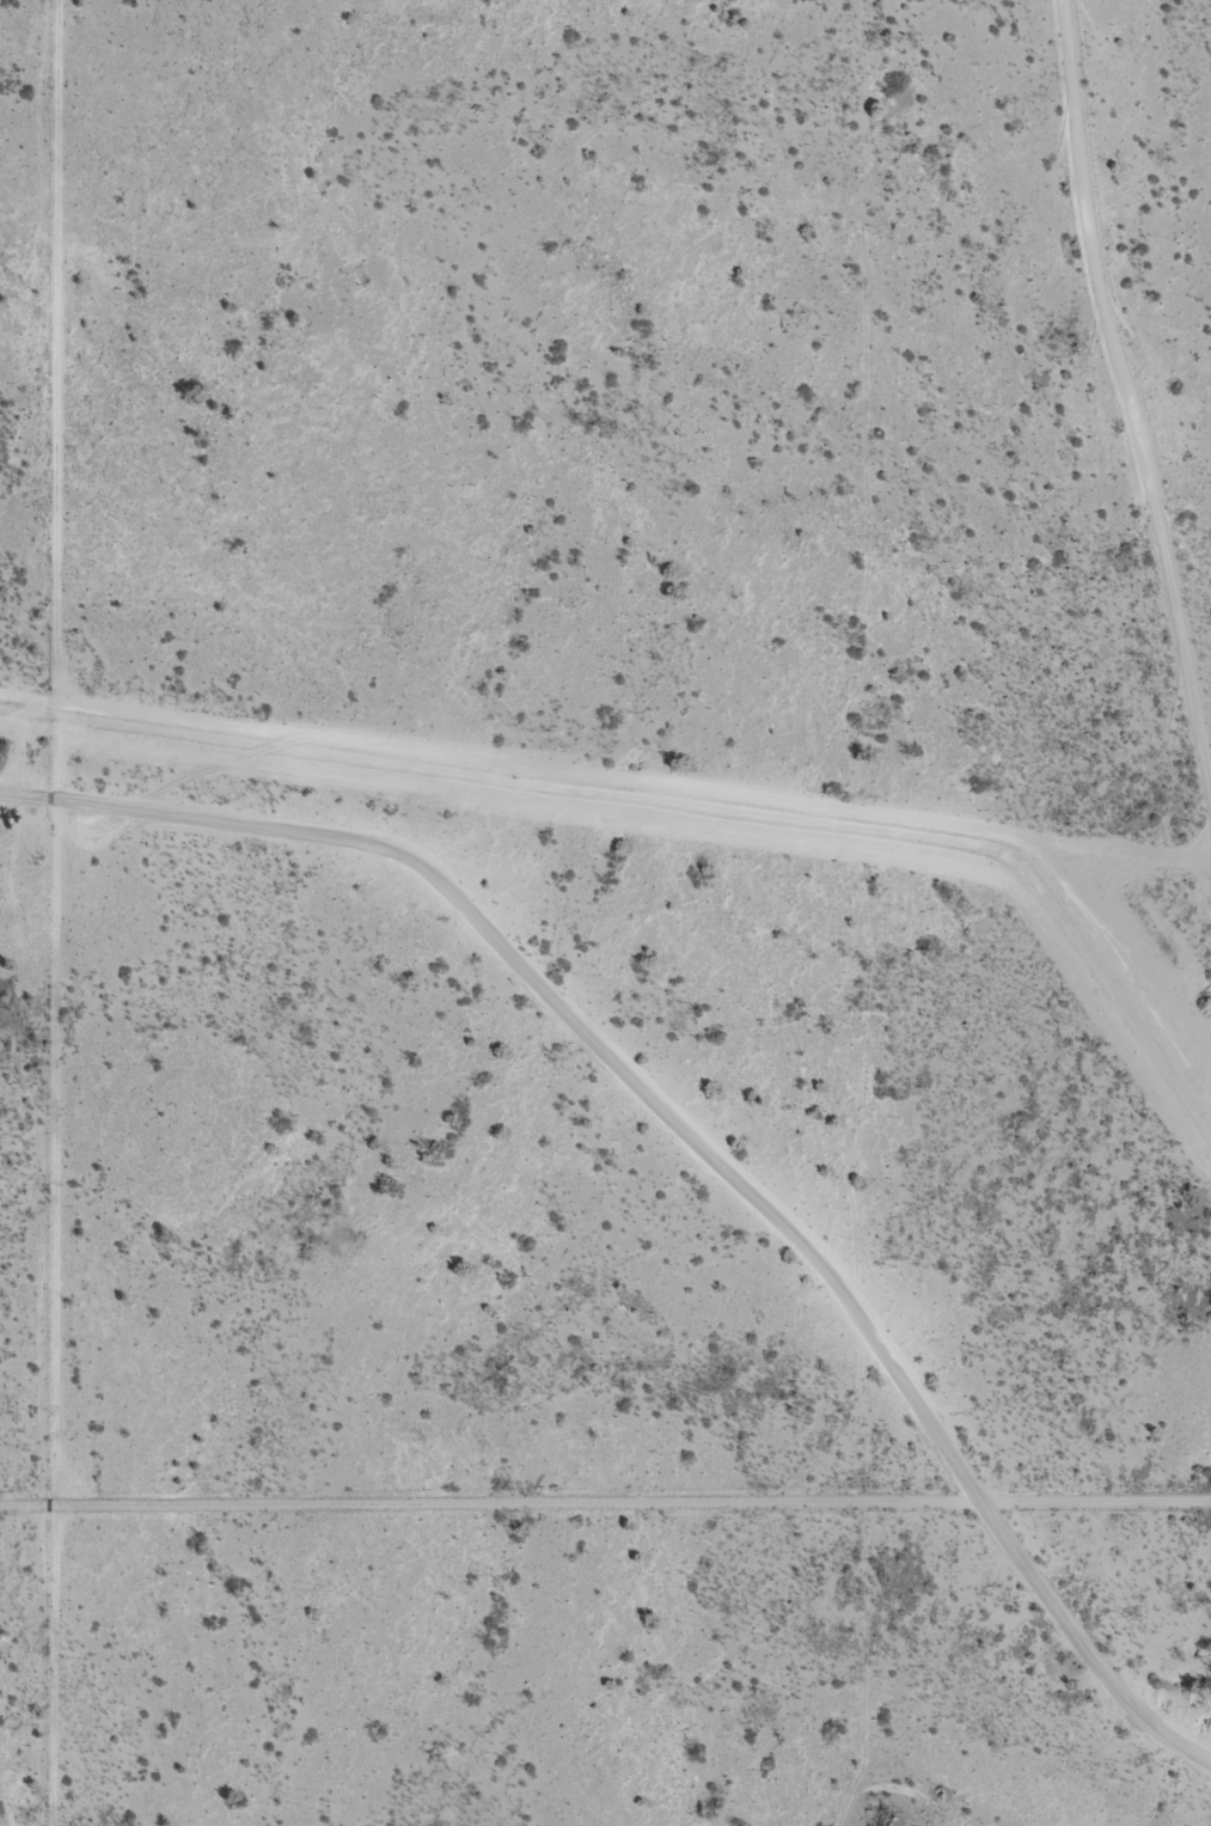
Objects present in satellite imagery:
road: (1146, 326)
road: (606, 714)

